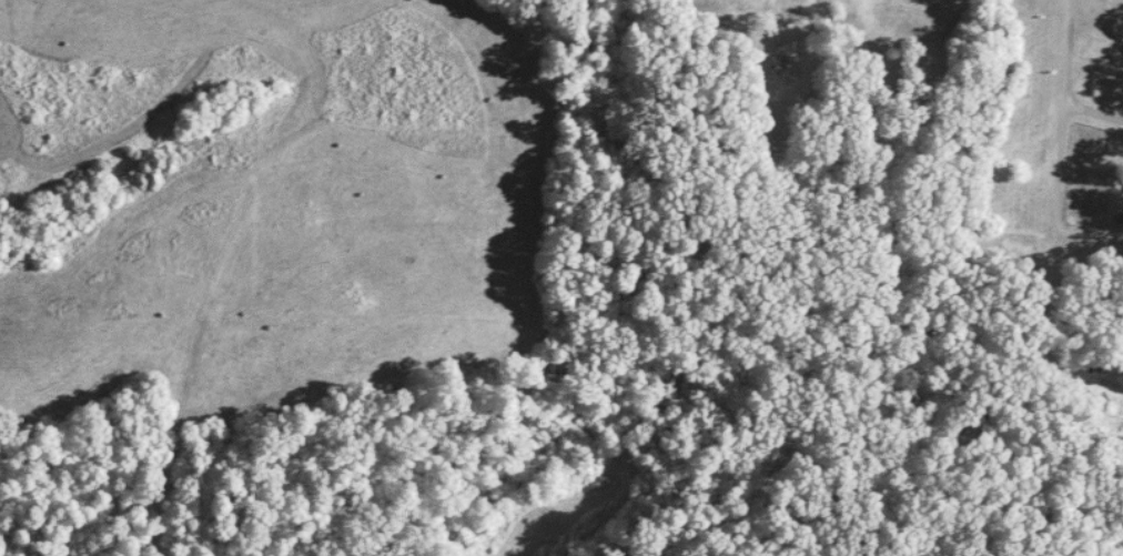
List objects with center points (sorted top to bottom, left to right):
road: (1064, 80)

